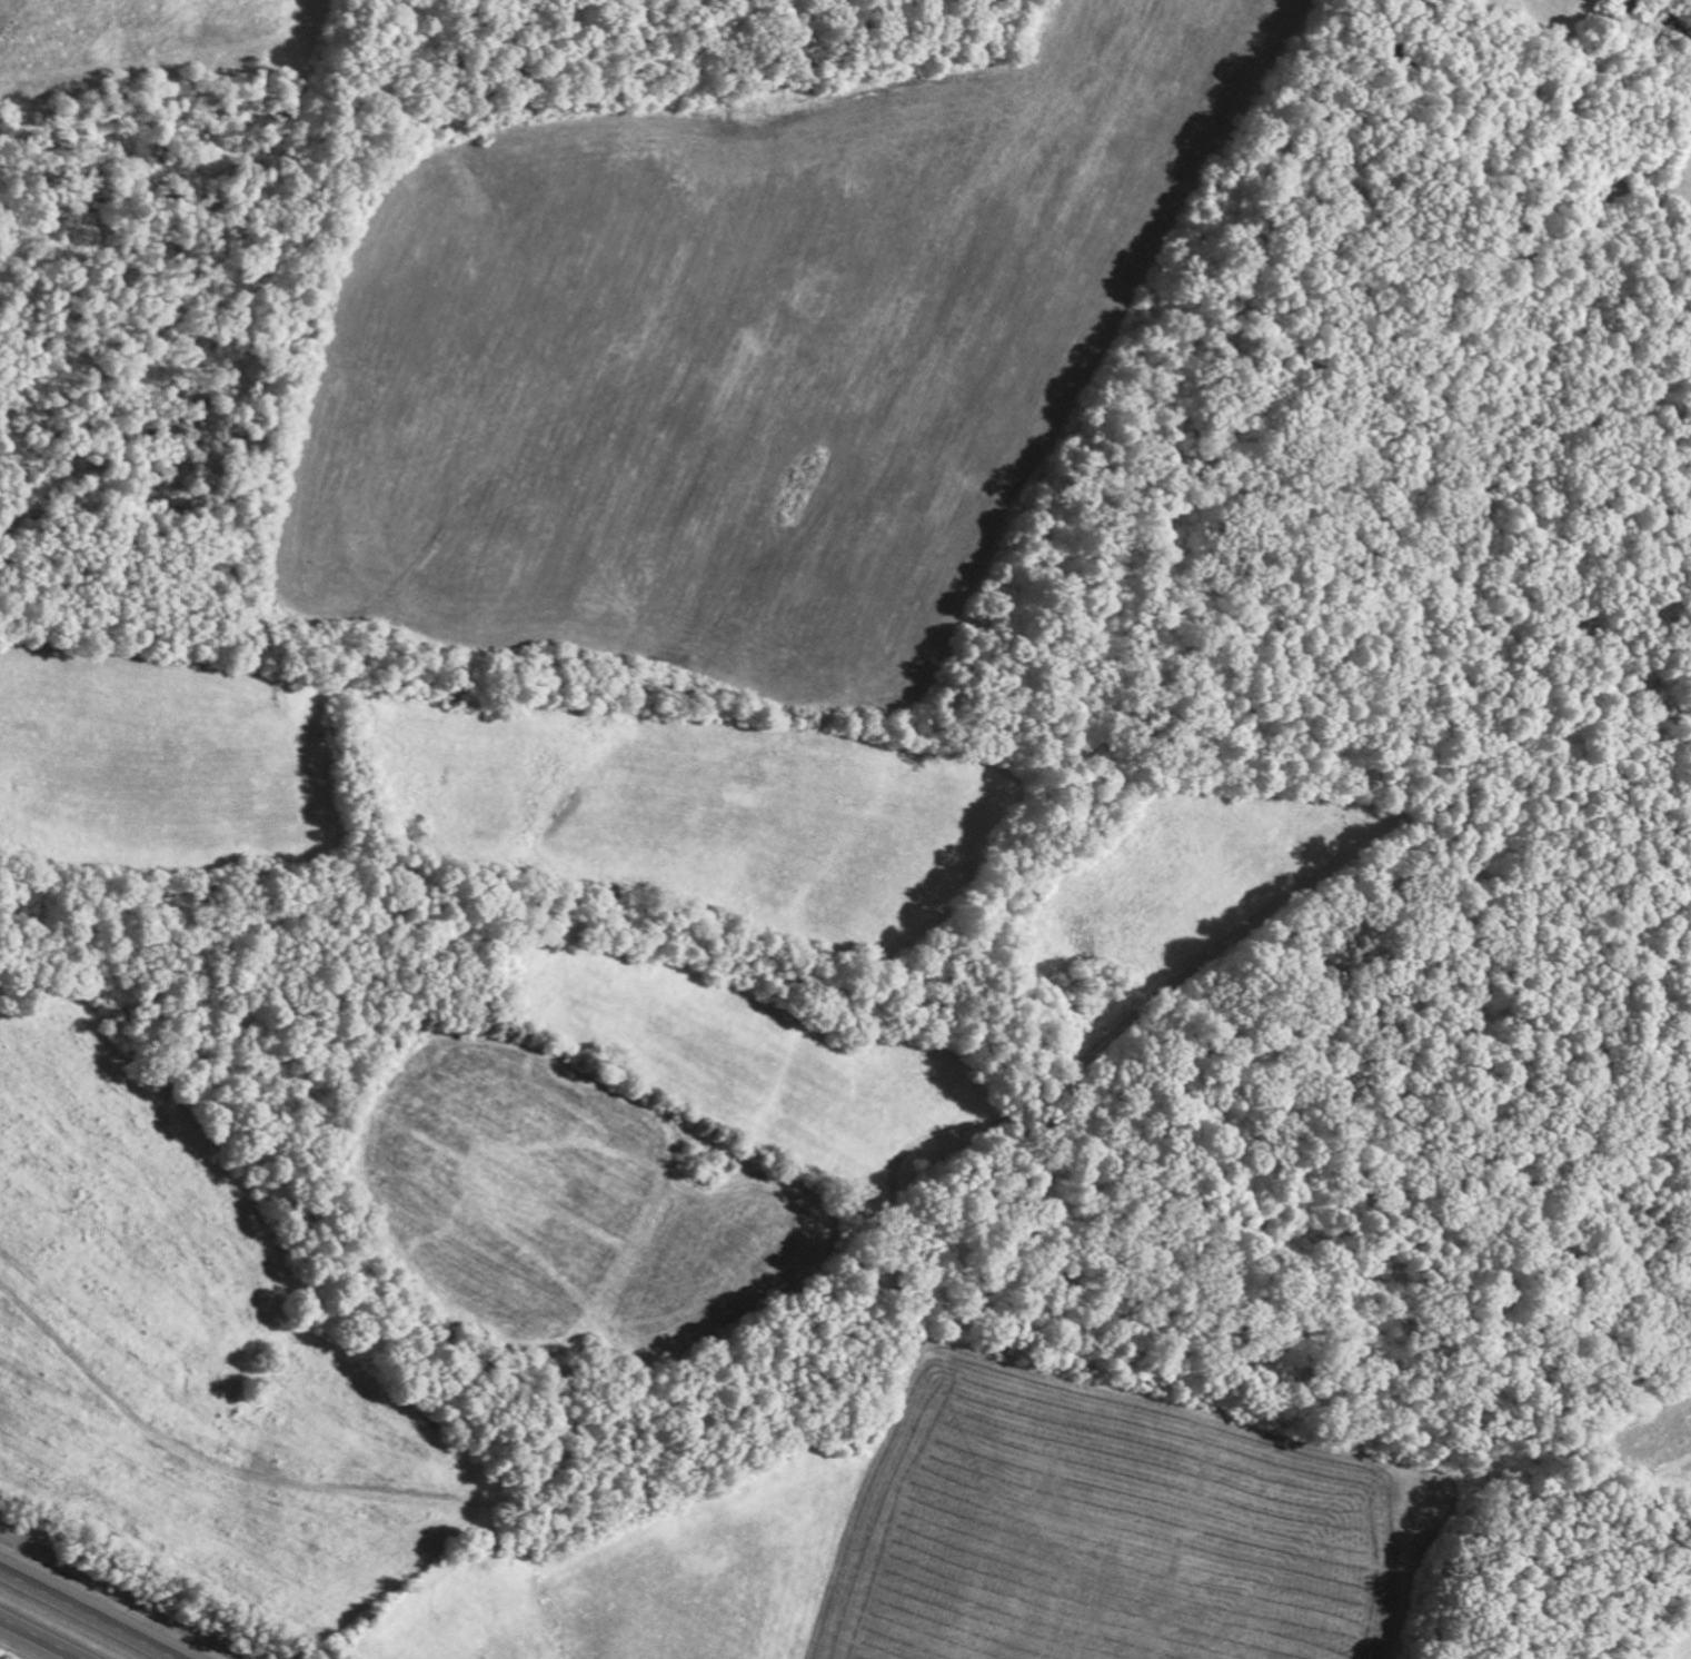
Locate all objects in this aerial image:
road: (90, 1612)
road: (40, 1638)

